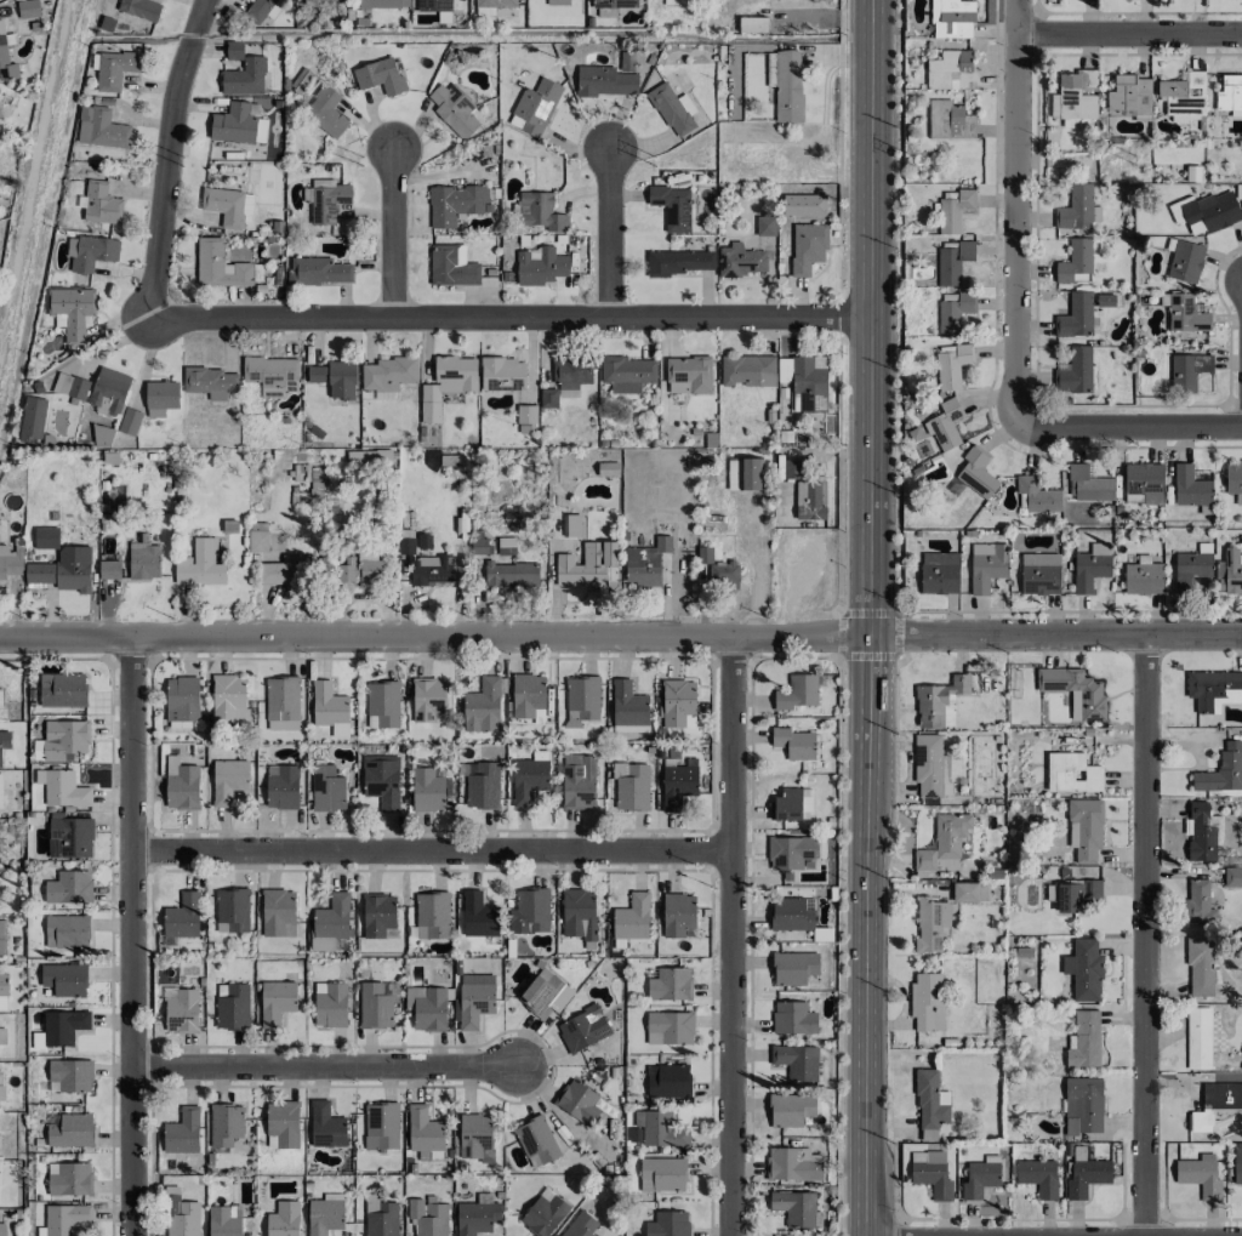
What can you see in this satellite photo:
building: (334, 0)
building: (827, 0)
building: (494, 2)
building: (557, 2)
building: (673, 2)
building: (381, 4)
building: (433, 5)
building: (610, 6)
building: (27, 8)
building: (138, 8)
building: (257, 8)
building: (951, 18)
building: (752, 24)
road: (1128, 36)
building: (5, 58)
building: (113, 69)
building: (951, 70)
building: (241, 72)
building: (304, 74)
building: (380, 76)
building: (604, 81)
building: (787, 86)
building: (1077, 95)
building: (1130, 95)
building: (1184, 95)
building: (1230, 95)
building: (535, 107)
building: (454, 109)
building: (672, 109)
building: (326, 112)
building: (948, 121)
building: (239, 124)
building: (101, 129)
road: (169, 158)
building: (326, 201)
building: (101, 203)
building: (455, 204)
building: (228, 206)
building: (672, 206)
building: (1077, 209)
building: (540, 211)
building: (955, 211)
building: (1213, 211)
building: (1241, 211)
road: (1015, 212)
building: (765, 226)
road: (393, 233)
road: (608, 233)
building: (807, 247)
building: (92, 252)
building: (740, 261)
building: (677, 262)
building: (952, 262)
building: (1075, 262)
building: (1185, 262)
building: (218, 266)
building: (451, 266)
building: (540, 267)
building: (318, 270)
building: (72, 312)
building: (953, 312)
building: (1185, 314)
building: (1075, 315)
road: (509, 317)
building: (747, 370)
building: (1187, 370)
building: (1075, 371)
building: (502, 374)
building: (627, 374)
building: (270, 375)
building: (571, 375)
building: (688, 375)
building: (784, 375)
building: (387, 376)
building: (334, 378)
building: (210, 382)
building: (809, 382)
building: (446, 383)
building: (69, 386)
building: (108, 391)
building: (160, 398)
building: (548, 398)
building: (526, 414)
building: (32, 420)
building: (129, 421)
building: (945, 425)
road: (1129, 427)
building: (102, 435)
building: (608, 468)
building: (791, 468)
building: (976, 472)
building: (742, 474)
building: (317, 482)
building: (1088, 483)
building: (1144, 483)
building: (1190, 486)
building: (1036, 496)
building: (808, 502)
building: (571, 525)
building: (45, 537)
building: (257, 537)
building: (406, 542)
building: (479, 546)
building: (506, 546)
building: (143, 560)
building: (8, 562)
building: (645, 563)
building: (199, 564)
building: (586, 564)
building: (363, 565)
building: (986, 565)
building: (1090, 566)
building: (108, 569)
building: (718, 569)
building: (1191, 569)
building: (63, 570)
building: (429, 570)
building: (284, 571)
building: (1229, 571)
building: (939, 573)
building: (1039, 574)
building: (507, 575)
building: (1143, 579)
road: (868, 617)
road: (621, 637)
building: (1214, 689)
building: (62, 690)
building: (1075, 690)
building: (799, 691)
building: (526, 695)
building: (0, 699)
building: (229, 699)
building: (428, 700)
building: (581, 700)
building: (182, 701)
building: (677, 701)
building: (939, 702)
building: (281, 704)
building: (382, 705)
building: (482, 706)
building: (329, 707)
building: (628, 708)
building: (64, 739)
building: (4, 741)
building: (793, 744)
building: (171, 764)
building: (930, 767)
building: (1221, 770)
building: (1071, 773)
building: (228, 780)
building: (528, 780)
building: (382, 781)
building: (577, 781)
building: (482, 785)
building: (281, 786)
building: (677, 786)
building: (182, 788)
building: (326, 788)
building: (632, 788)
building: (64, 790)
building: (427, 790)
building: (0, 792)
building: (786, 804)
building: (1084, 828)
building: (1202, 832)
building: (69, 836)
building: (942, 844)
road: (432, 851)
building: (788, 851)
building: (0, 853)
building: (1232, 876)
building: (69, 888)
building: (970, 892)
building: (1073, 894)
building: (1200, 902)
building: (232, 910)
building: (528, 911)
building: (278, 913)
building: (577, 913)
building: (791, 913)
building: (377, 915)
building: (431, 915)
building: (677, 915)
building: (182, 916)
building: (478, 916)
building: (631, 917)
building: (330, 923)
building: (930, 924)
building: (65, 932)
road: (1145, 934)
road: (132, 935)
road: (730, 936)
building: (2, 938)
building: (793, 967)
building: (1200, 967)
building: (1083, 969)
building: (64, 979)
building: (668, 984)
building: (2, 991)
building: (545, 993)
building: (474, 998)
building: (277, 1001)
building: (927, 1002)
building: (376, 1003)
building: (330, 1004)
building: (232, 1007)
building: (426, 1008)
building: (181, 1012)
building: (793, 1018)
building: (63, 1026)
building: (670, 1027)
building: (582, 1029)
building: (1, 1033)
building: (1197, 1038)
building: (1084, 1040)
building: (796, 1061)
road: (326, 1067)
building: (70, 1075)
building: (668, 1081)
building: (1, 1088)
building: (1221, 1095)
building: (930, 1100)
building: (577, 1101)
building: (1082, 1105)
building: (790, 1109)
building: (1200, 1121)
building: (283, 1123)
building: (382, 1123)
building: (326, 1126)
building: (226, 1127)
building: (659, 1129)
building: (70, 1130)
building: (182, 1132)
building: (425, 1134)
building: (928, 1134)
building: (475, 1138)
building: (536, 1141)
building: (792, 1164)
building: (1237, 1166)
building: (931, 1173)
building: (662, 1174)
building: (1200, 1175)
building: (980, 1177)
building: (1038, 1177)
building: (1086, 1177)
building: (69, 1179)
building: (796, 1208)
building: (324, 1215)
building: (543, 1215)
building: (181, 1217)
building: (380, 1217)
building: (428, 1217)
building: (64, 1218)
building: (475, 1218)
building: (283, 1219)
building: (223, 1220)
building: (667, 1224)
building: (580, 1225)
building: (1, 1229)

